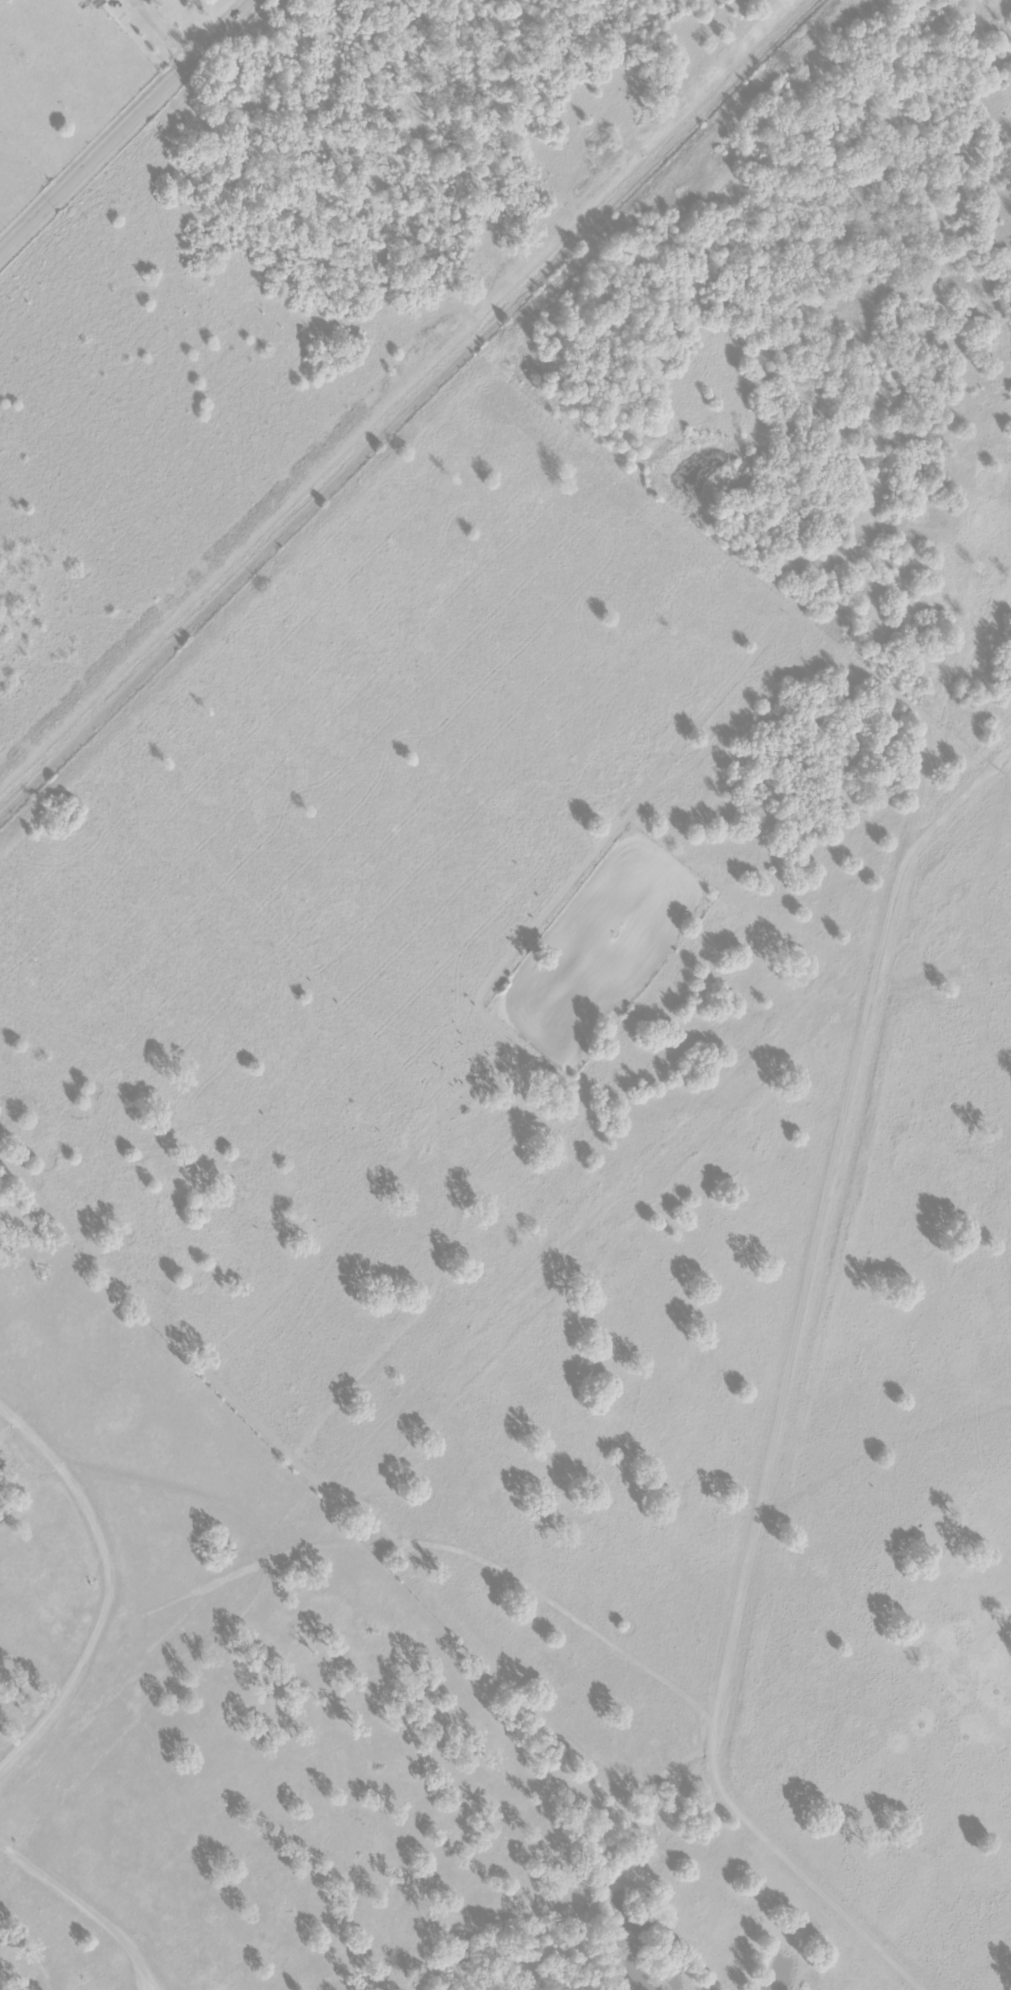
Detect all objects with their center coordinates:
building: (93, 3)
road: (123, 124)
road: (29, 184)

